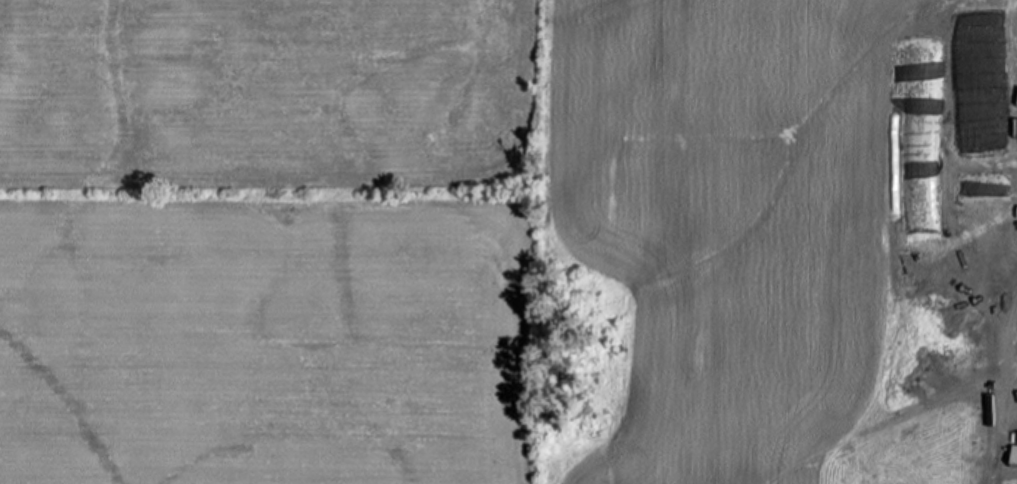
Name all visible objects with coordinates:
building: (857, 453)
building: (1016, 460)
building: (949, 482)

